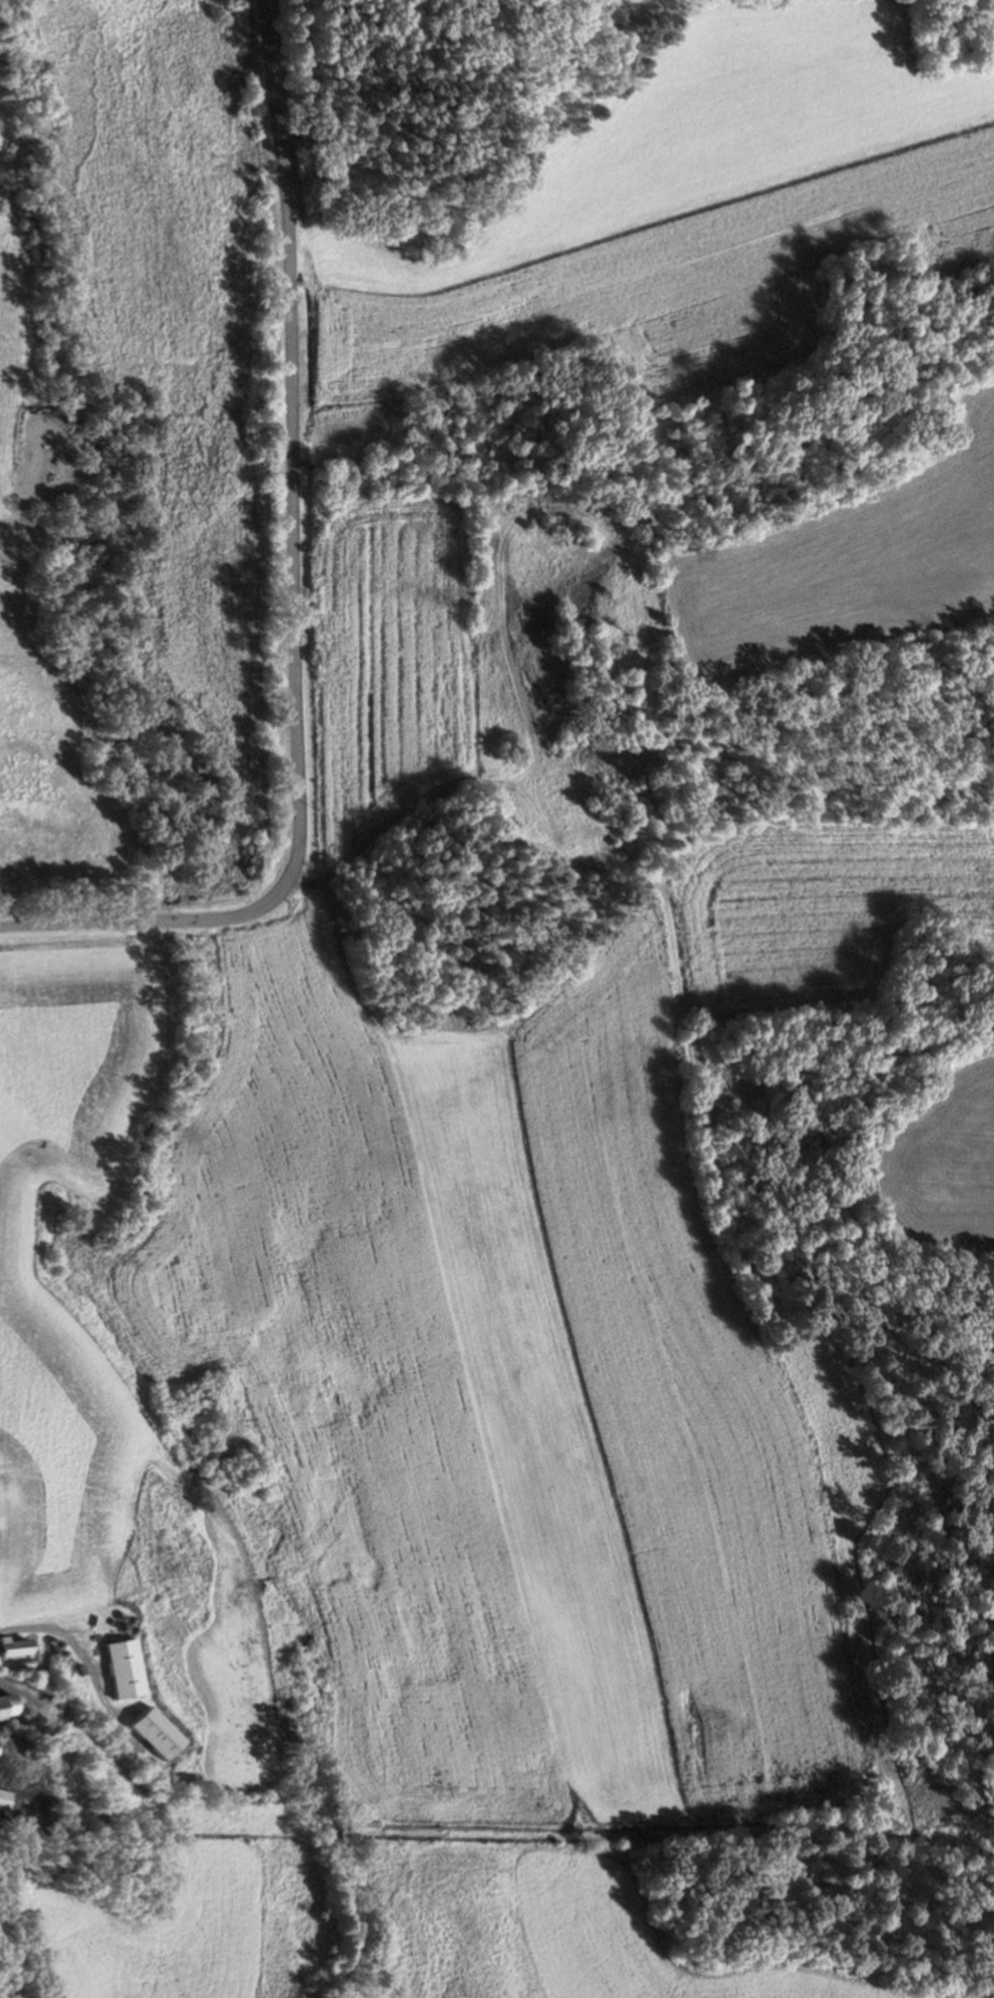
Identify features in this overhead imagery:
road: (291, 590)
building: (11, 1644)
building: (123, 1667)
building: (5, 1702)
building: (154, 1731)
building: (4, 1798)
road: (5, 1987)

